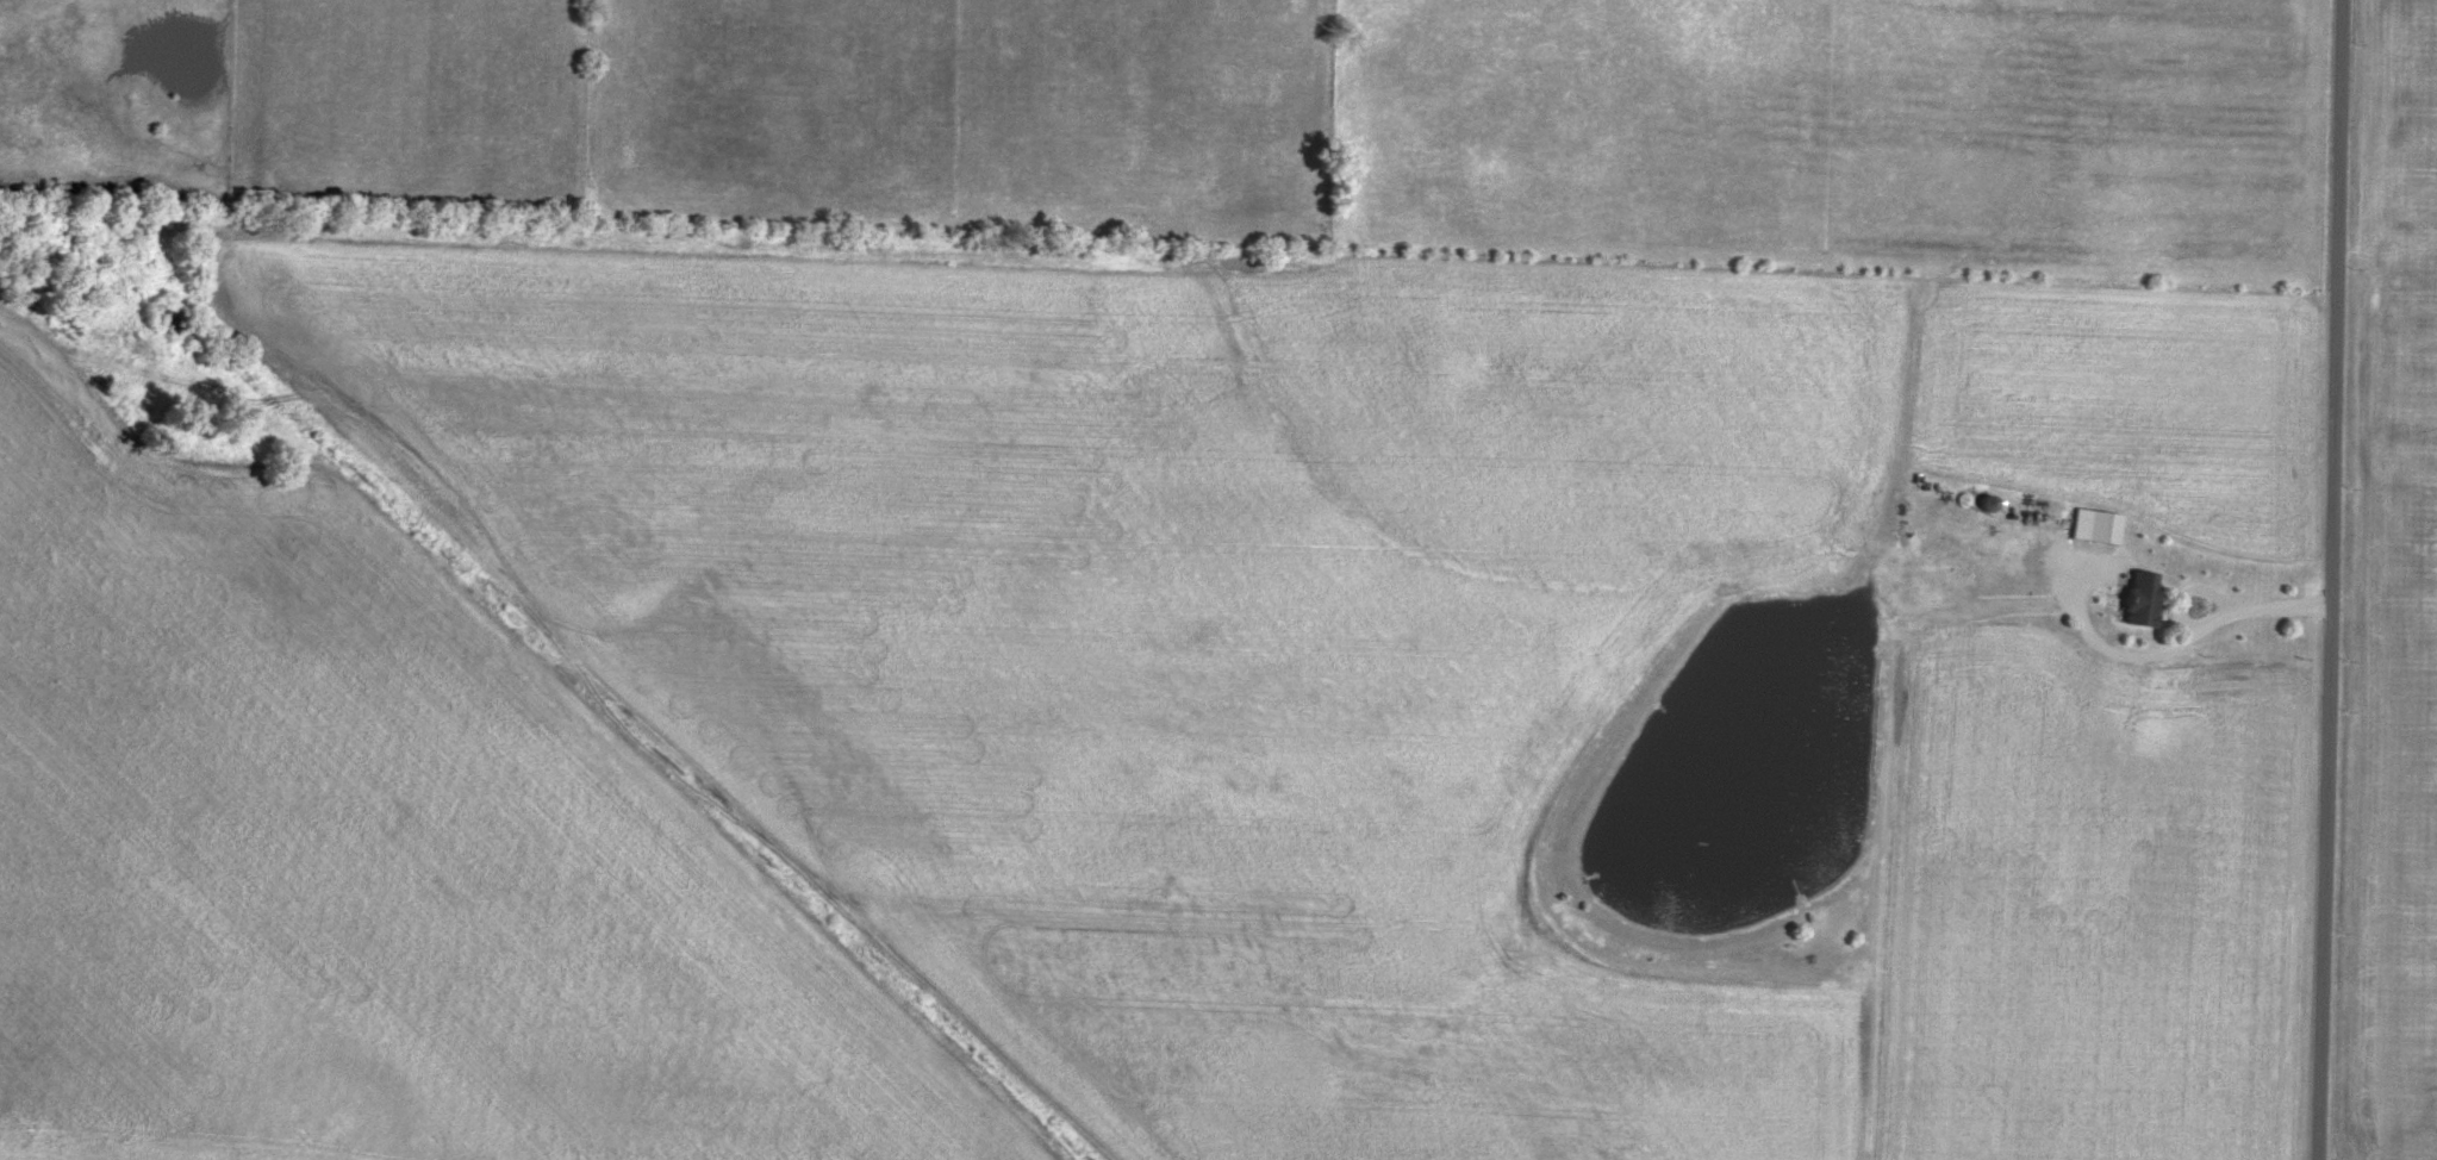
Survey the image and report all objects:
building: (2094, 523)
road: (2325, 579)
road: (2208, 595)
building: (2140, 597)

